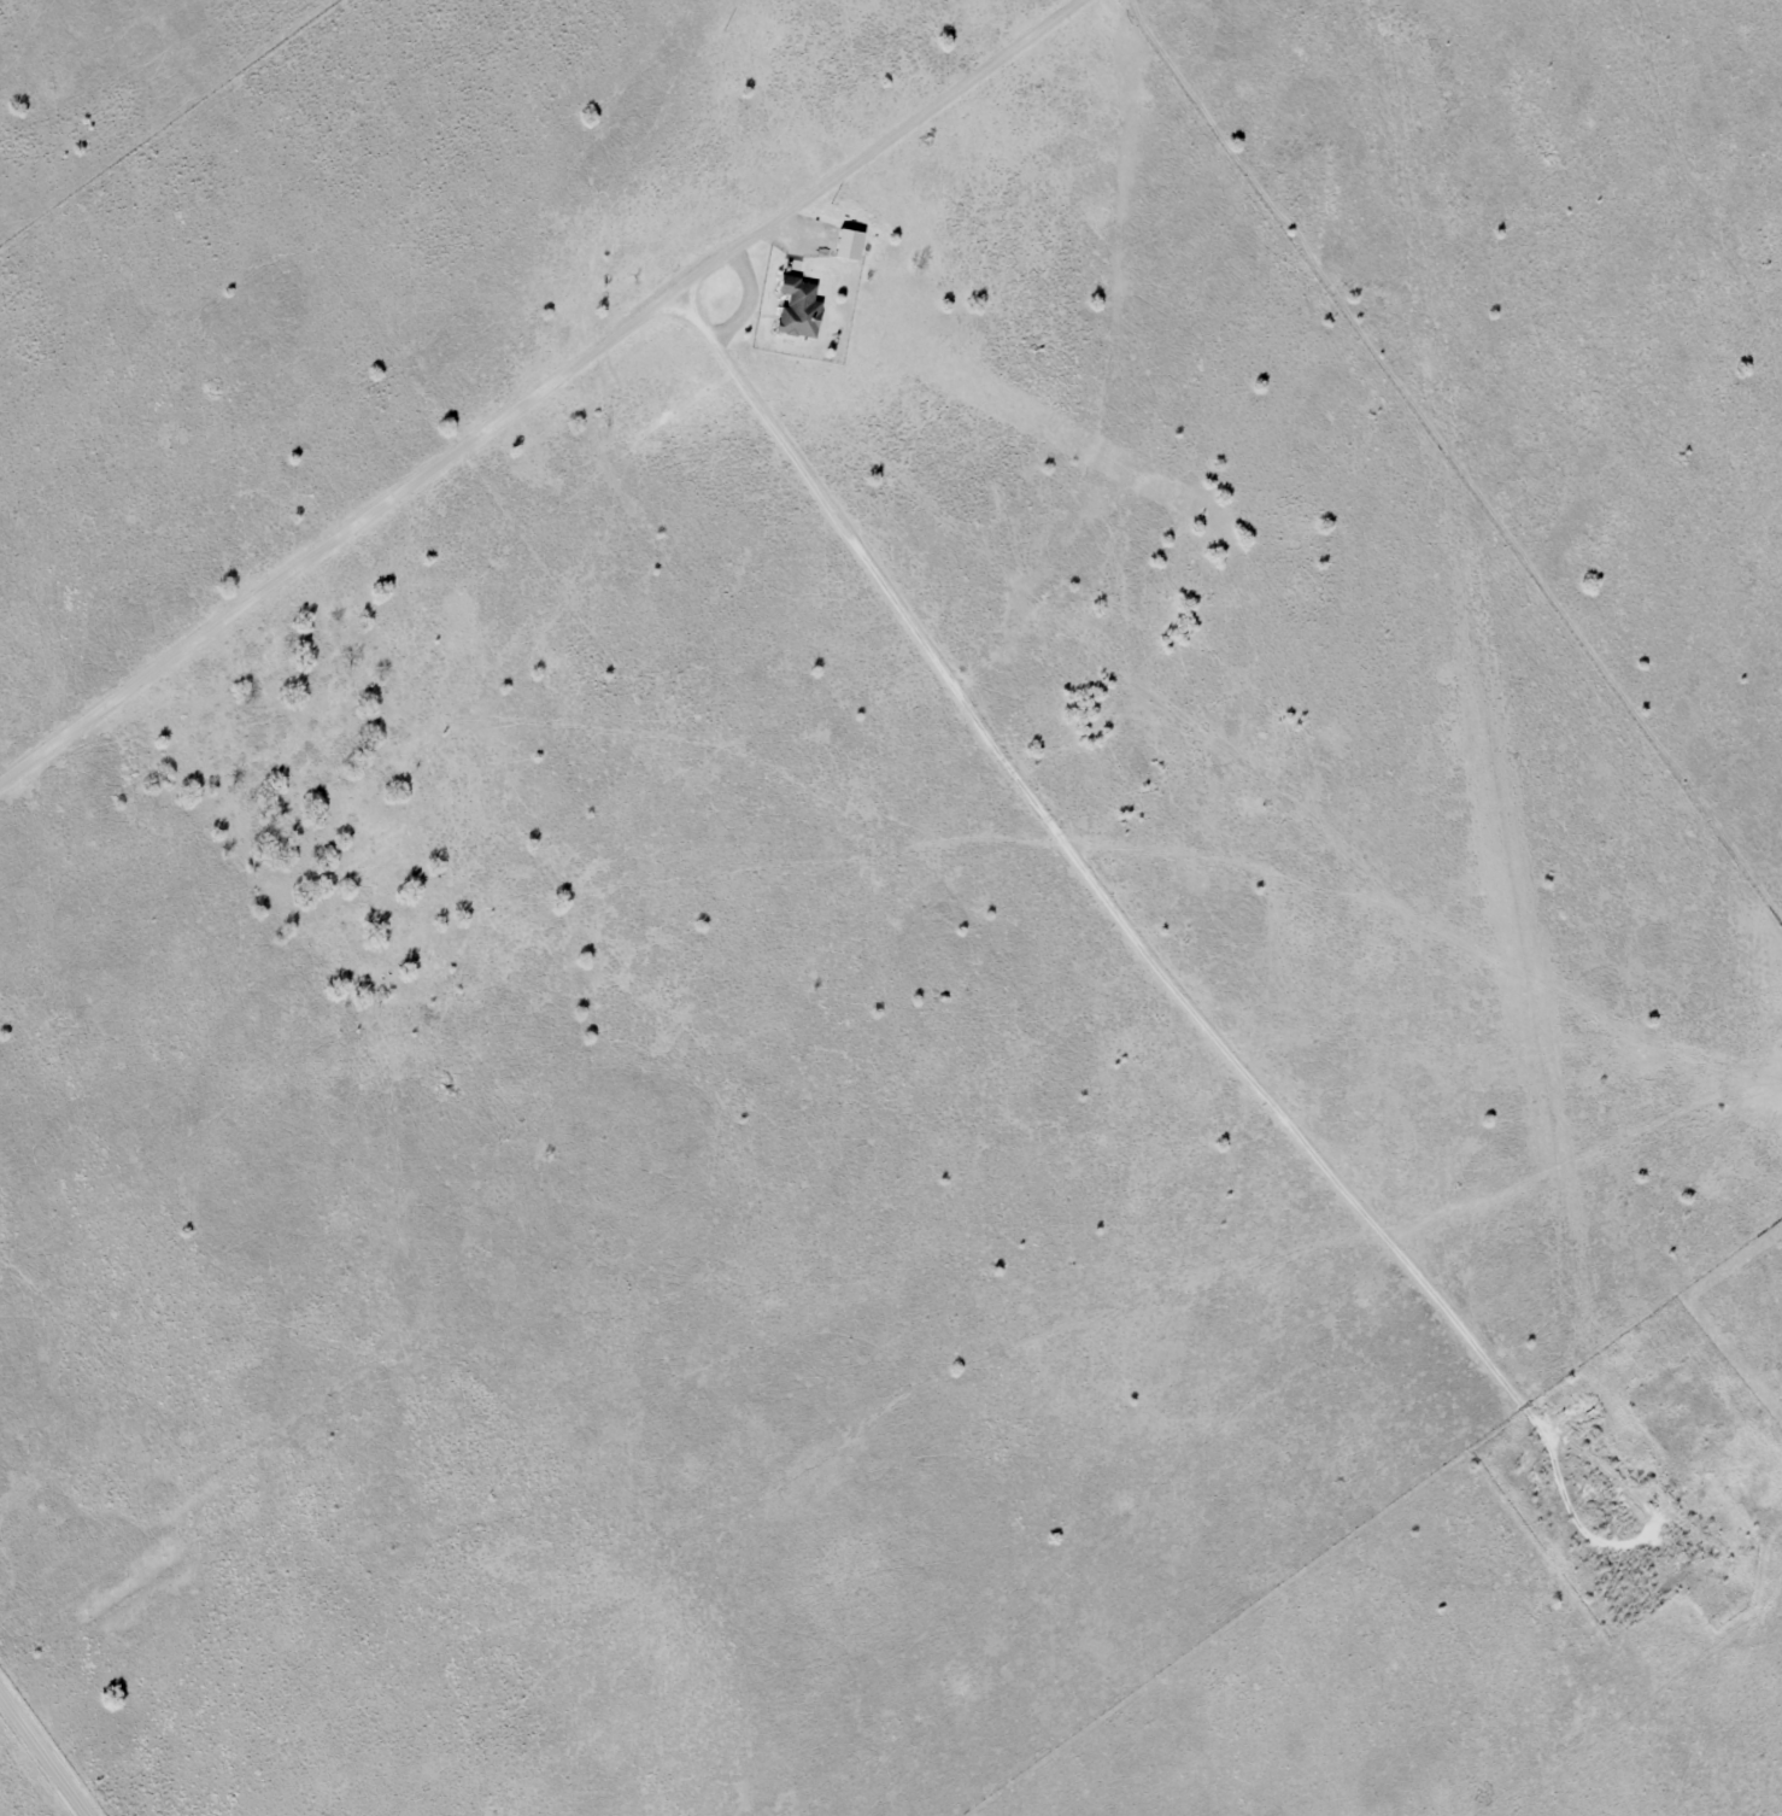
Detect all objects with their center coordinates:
building: (854, 244)
road: (592, 424)
road: (47, 1747)

